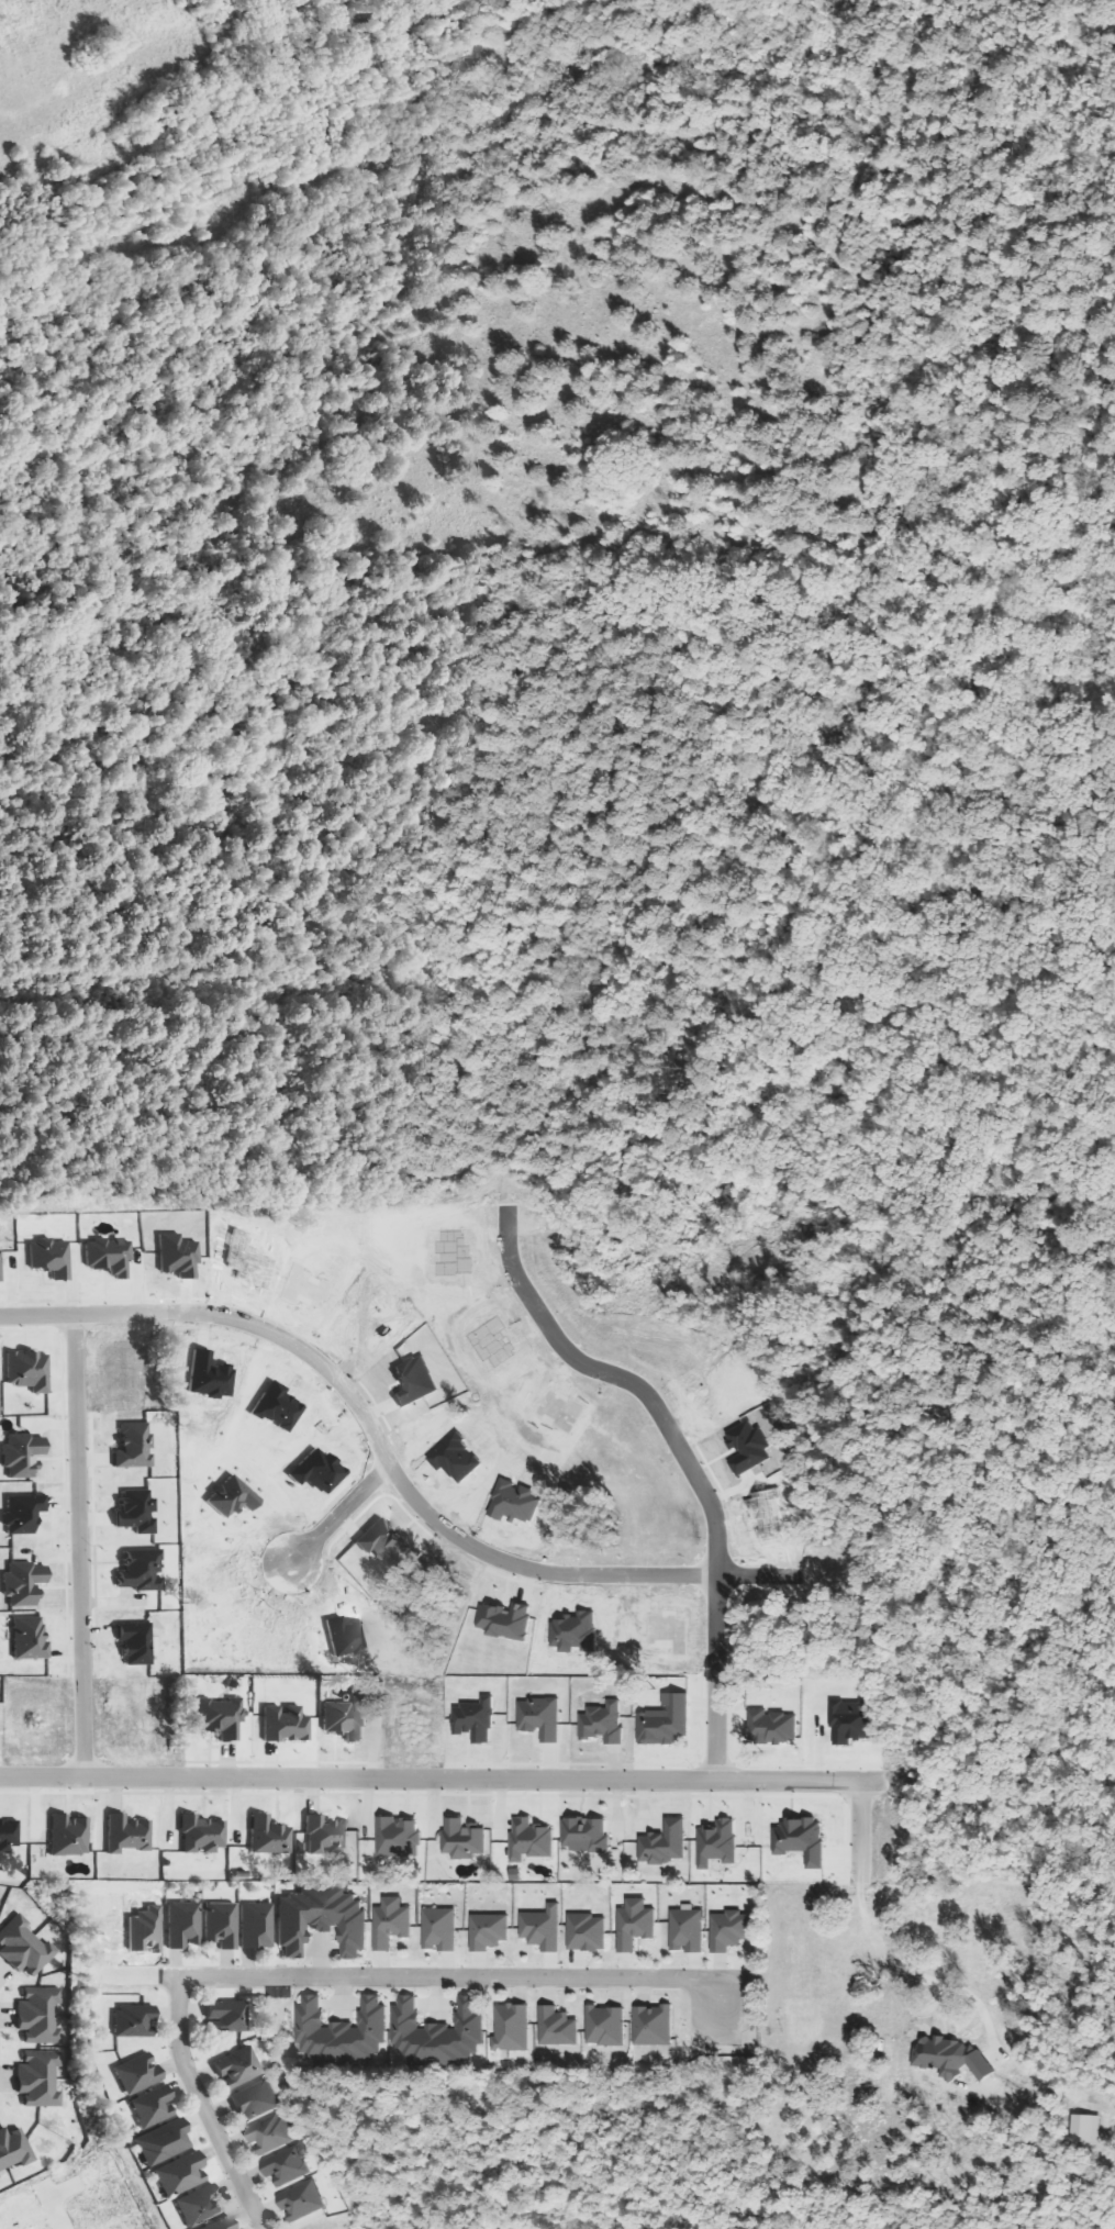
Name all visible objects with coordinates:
building: (52, 1257)
building: (0, 1261)
building: (30, 1370)
building: (135, 1446)
building: (24, 1455)
road: (683, 1458)
road: (390, 1470)
building: (137, 1511)
building: (24, 1513)
road: (338, 1515)
road: (78, 1547)
building: (143, 1570)
building: (26, 1583)
building: (31, 1638)
building: (137, 1642)
building: (221, 1717)
building: (348, 1718)
building: (543, 1718)
building: (477, 1720)
building: (855, 1720)
building: (667, 1721)
building: (287, 1724)
building: (604, 1724)
building: (776, 1727)
road: (454, 1780)
road: (861, 1825)
building: (327, 1834)
building: (9, 1835)
building: (129, 1835)
building: (203, 1835)
building: (588, 1835)
building: (69, 1836)
building: (270, 1836)
building: (400, 1837)
building: (467, 1839)
building: (534, 1840)
building: (668, 1843)
building: (721, 1843)
building: (323, 1919)
building: (393, 1922)
building: (185, 1925)
building: (222, 1925)
building: (638, 1925)
building: (257, 1926)
building: (546, 1928)
building: (442, 1929)
building: (690, 1929)
building: (733, 1930)
building: (491, 1931)
building: (589, 1932)
building: (25, 1947)
road: (457, 1979)
building: (40, 2016)
building: (227, 2017)
building: (136, 2021)
building: (609, 2026)
building: (656, 2026)
building: (514, 2027)
building: (559, 2027)
building: (346, 2031)
building: (441, 2032)
building: (239, 2068)
building: (140, 2074)
building: (38, 2076)
building: (257, 2100)
building: (155, 2107)
road: (202, 2107)
building: (1090, 2129)
building: (271, 2133)
building: (165, 2142)
building: (14, 2149)
building: (288, 2166)
building: (182, 2174)
building: (0, 2177)
building: (304, 2202)
building: (201, 2206)
building: (223, 2224)

